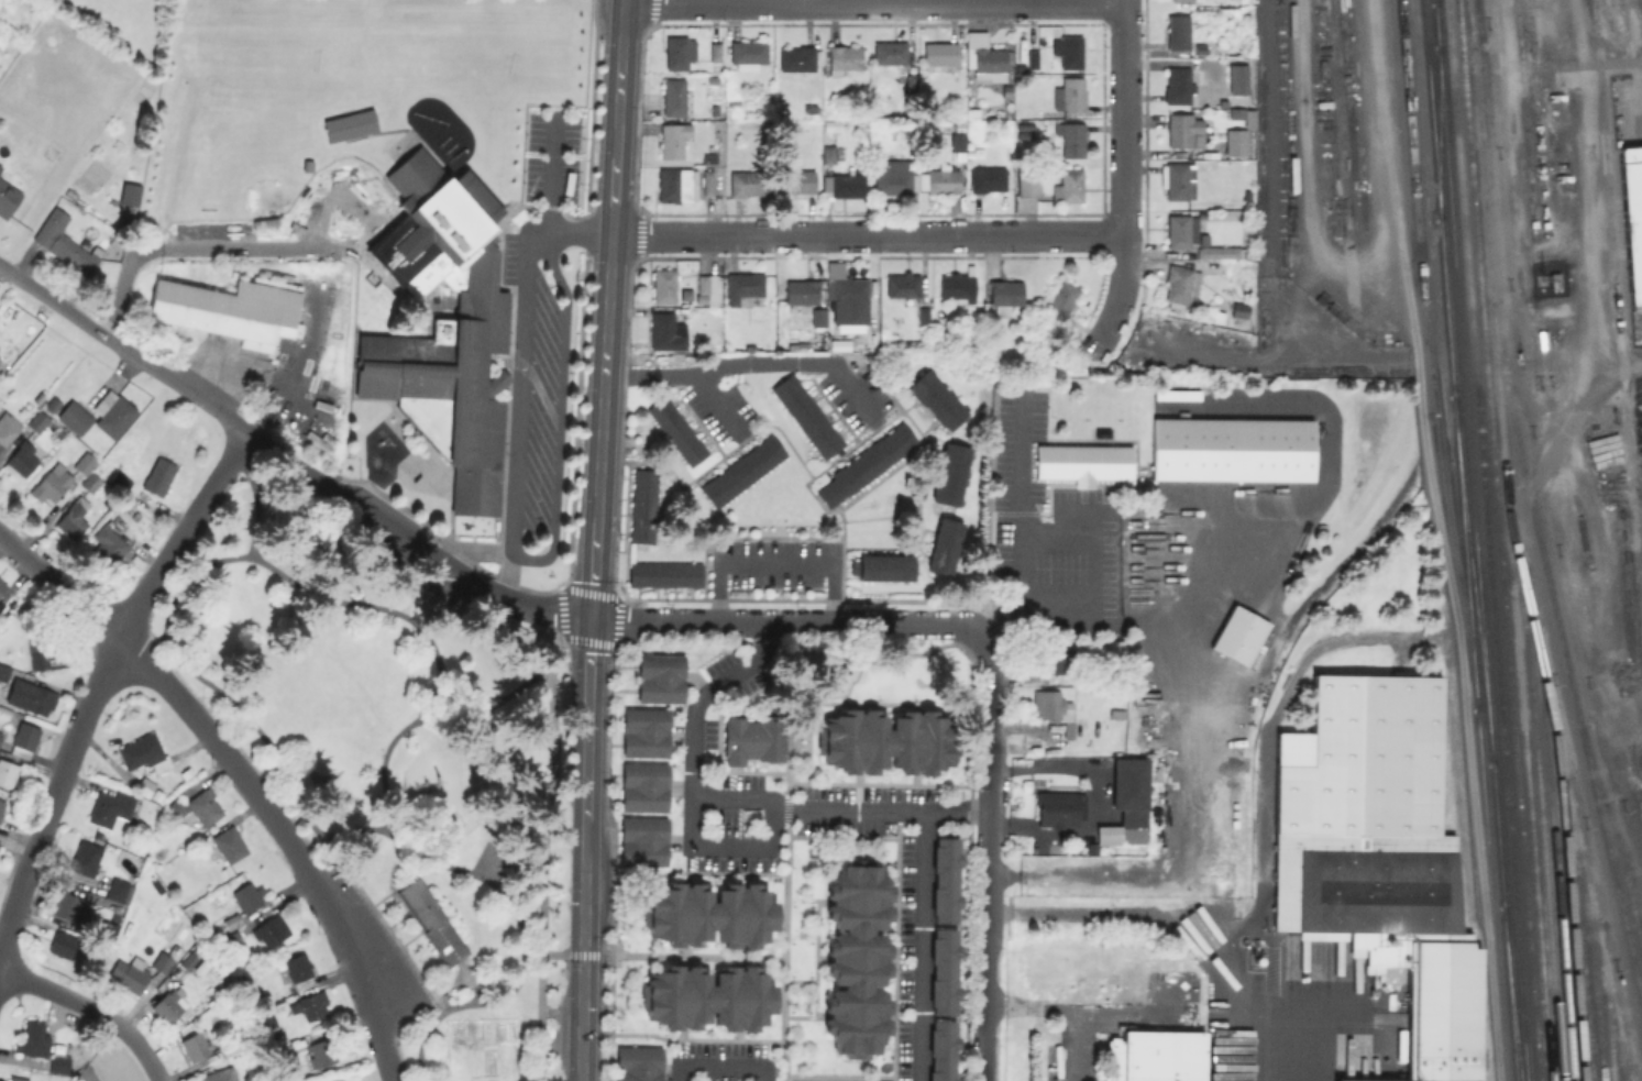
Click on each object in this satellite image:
building: (1180, 0)
road: (624, 1)
railway: (1435, 1)
railway: (1435, 1)
road: (873, 2)
railway: (1468, 21)
building: (1177, 32)
building: (1199, 48)
building: (714, 49)
building: (1069, 49)
building: (677, 51)
building: (747, 51)
building: (890, 52)
building: (939, 55)
building: (985, 56)
building: (796, 57)
building: (842, 57)
building: (1032, 57)
railway: (1631, 65)
park: (306, 67)
building: (1237, 79)
building: (910, 81)
building: (1177, 84)
building: (1006, 89)
building: (1069, 93)
building: (673, 96)
building: (732, 102)
building: (1222, 103)
building: (809, 108)
building: (1236, 113)
building: (1248, 119)
railway: (1536, 119)
railway: (1524, 120)
building: (348, 124)
building: (830, 124)
building: (906, 126)
building: (1183, 130)
railway: (1440, 131)
road: (1269, 132)
building: (672, 137)
building: (1072, 139)
building: (1235, 142)
building: (957, 144)
road: (1387, 146)
building: (828, 153)
building: (708, 157)
parking lot: (550, 158)
building: (0, 165)
building: (307, 168)
building: (1291, 172)
road: (549, 173)
road: (1302, 174)
building: (893, 176)
road: (1123, 176)
building: (944, 178)
building: (987, 179)
building: (1177, 179)
building: (796, 180)
building: (707, 181)
building: (747, 181)
building: (1027, 181)
building: (676, 184)
building: (842, 185)
building: (1068, 185)
building: (350, 192)
building: (128, 194)
building: (7, 197)
building: (1632, 217)
building: (1180, 230)
road: (867, 234)
building: (62, 242)
road: (203, 251)
building: (1221, 251)
building: (1555, 279)
building: (902, 284)
building: (663, 285)
building: (742, 285)
building: (958, 285)
building: (1180, 285)
building: (705, 289)
building: (801, 290)
building: (1004, 294)
building: (847, 297)
building: (1061, 298)
building: (231, 308)
building: (1238, 309)
road: (606, 311)
building: (818, 316)
building: (924, 316)
building: (1217, 316)
railway: (1616, 316)
building: (482, 317)
building: (665, 331)
building: (1542, 339)
road: (125, 348)
road: (747, 363)
road: (300, 373)
parking lot: (536, 380)
building: (1175, 394)
building: (1010, 397)
building: (936, 398)
building: (52, 404)
road: (306, 405)
building: (115, 412)
building: (806, 415)
building: (37, 420)
building: (8, 427)
building: (676, 430)
building: (1232, 448)
railway: (1469, 454)
building: (20, 459)
road: (293, 459)
building: (1083, 462)
building: (85, 463)
building: (866, 463)
road: (1018, 468)
building: (741, 470)
building: (951, 473)
building: (158, 475)
building: (119, 479)
building: (90, 481)
building: (51, 483)
building: (642, 505)
building: (73, 519)
road: (509, 538)
railway: (1465, 540)
railway: (1487, 540)
railway: (1500, 540)
railway: (1508, 540)
road: (1353, 541)
building: (107, 545)
building: (944, 545)
road: (773, 563)
building: (882, 566)
road: (1091, 567)
road: (453, 570)
building: (664, 574)
railway: (1474, 578)
road: (289, 583)
building: (2, 584)
traffic signals: (592, 584)
road: (784, 622)
building: (1238, 635)
building: (46, 649)
traffic signals: (588, 653)
building: (1056, 657)
railway: (1566, 657)
building: (3, 672)
building: (661, 677)
road: (98, 682)
building: (30, 696)
building: (1054, 709)
road: (586, 712)
building: (1116, 713)
road: (428, 714)
road: (255, 727)
building: (646, 731)
building: (0, 732)
road: (1269, 733)
building: (24, 739)
building: (753, 739)
building: (886, 741)
building: (143, 752)
park: (394, 755)
building: (7, 773)
road: (239, 776)
building: (145, 784)
railway: (1566, 785)
building: (644, 786)
road: (1184, 792)
road: (1096, 799)
building: (1126, 804)
building: (1, 805)
building: (203, 806)
building: (112, 807)
building: (177, 807)
road: (879, 808)
building: (1059, 808)
railway: (1609, 814)
road: (692, 815)
railway: (1542, 821)
building: (644, 841)
road: (542, 842)
building: (229, 843)
building: (1380, 856)
railway: (1554, 856)
road: (985, 857)
building: (85, 858)
railway: (1624, 880)
building: (936, 885)
building: (118, 891)
railway: (1638, 893)
railway: (1568, 894)
building: (247, 896)
road: (508, 901)
building: (67, 906)
traffic signals: (583, 907)
road: (1173, 919)
building: (232, 922)
building: (431, 922)
building: (696, 924)
road: (582, 927)
railway: (1582, 929)
building: (268, 931)
building: (231, 939)
parking lot: (377, 939)
building: (63, 945)
road: (908, 945)
building: (165, 957)
building: (187, 960)
road: (659, 963)
railway: (1593, 966)
building: (298, 968)
building: (845, 969)
building: (130, 974)
building: (934, 978)
railway: (1511, 993)
railway: (1513, 993)
railway: (1608, 1002)
building: (696, 1003)
building: (310, 1005)
road: (1029, 1005)
building: (167, 1006)
traffic signals: (582, 1007)
road: (89, 1011)
road: (1088, 1012)
building: (264, 1022)
building: (33, 1039)
railway: (1620, 1040)
building: (194, 1046)
building: (228, 1046)
building: (319, 1054)
building: (933, 1054)
building: (1153, 1056)
building: (58, 1063)
building: (639, 1063)
road: (580, 1067)
road: (1291, 1069)
road: (707, 1070)
building: (219, 1074)
railway: (1629, 1074)
building: (18, 1079)
building: (340, 1080)
building: (1351, 1080)

